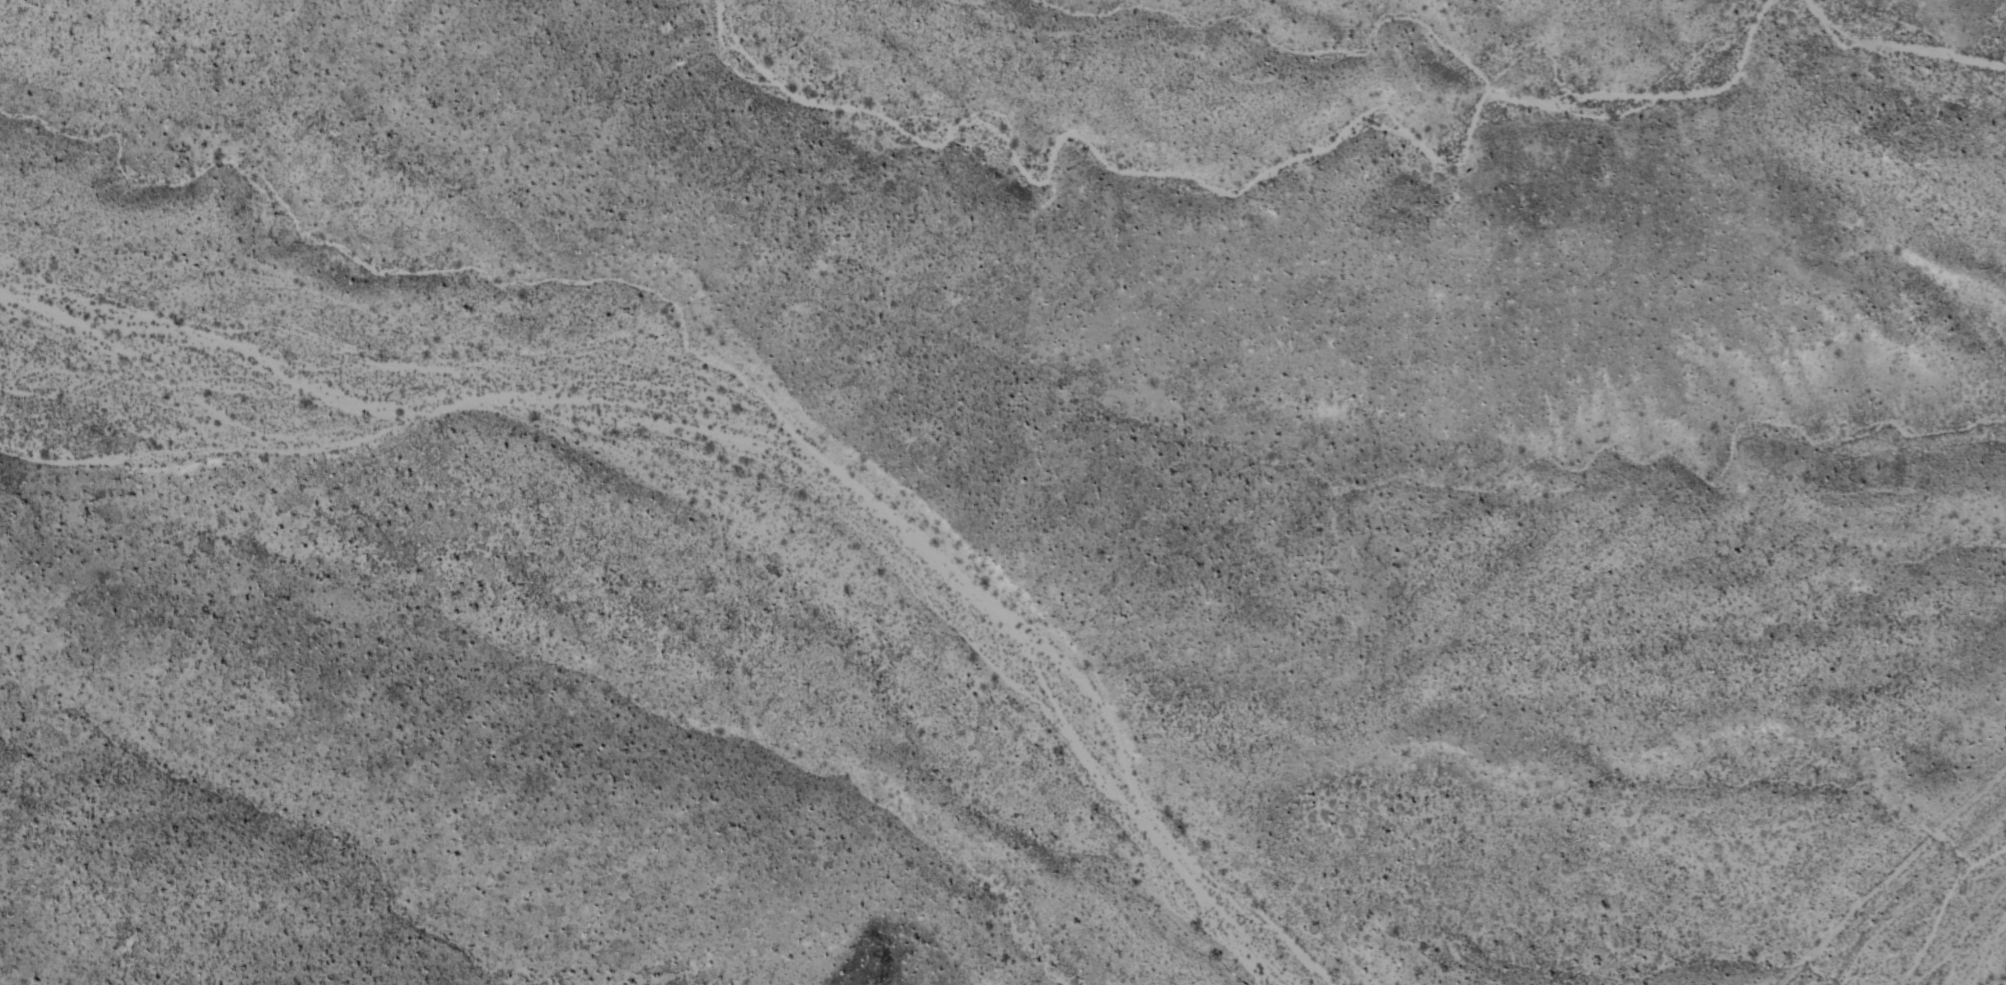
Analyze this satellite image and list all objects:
road: (1904, 899)

